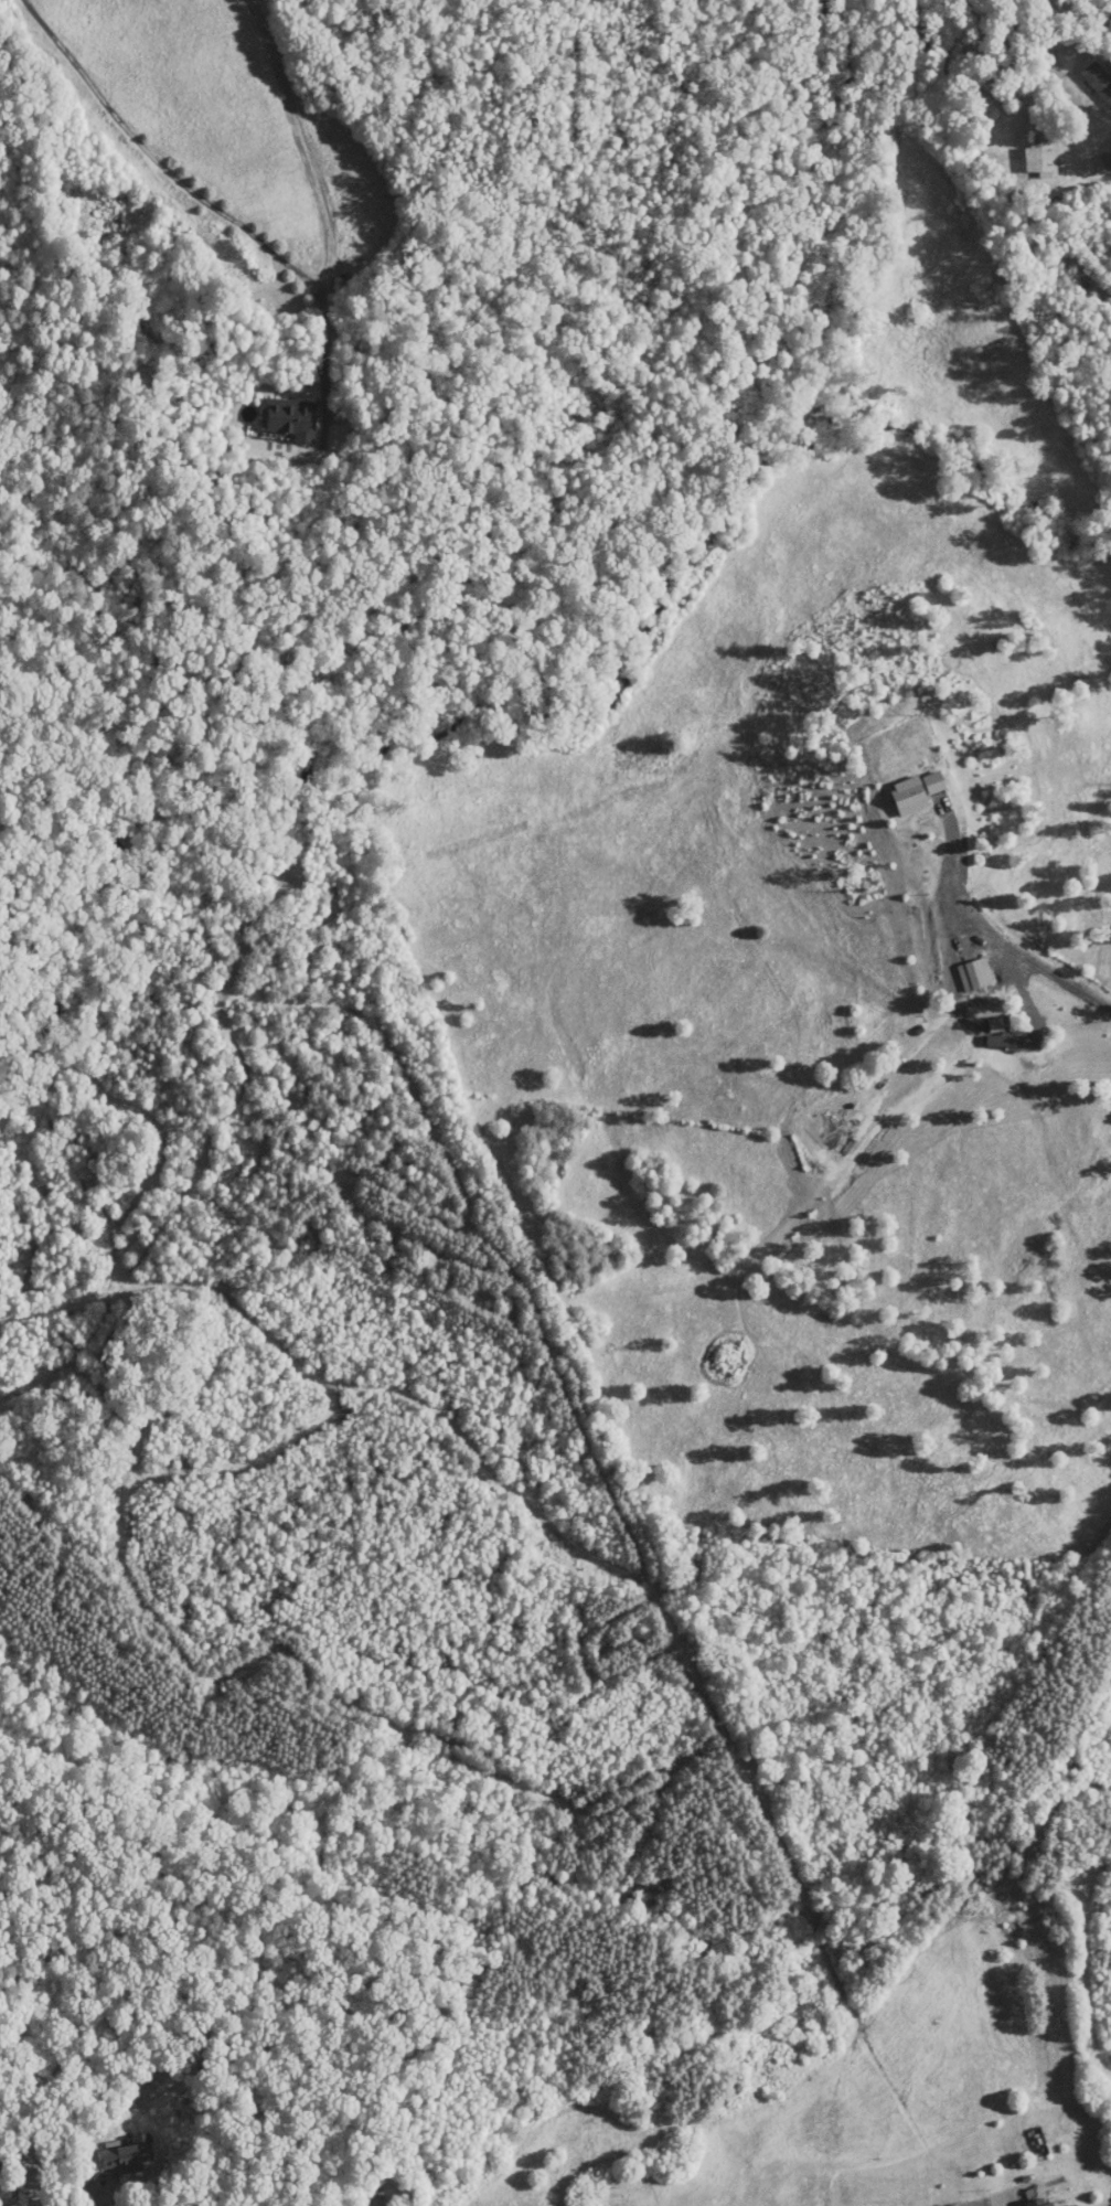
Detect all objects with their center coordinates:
building: (1099, 82)
building: (1041, 143)
road: (157, 160)
road: (316, 195)
building: (289, 417)
building: (917, 792)
road: (1004, 940)
building: (975, 974)
building: (832, 1136)
building: (130, 2155)
building: (2, 2168)
road: (105, 2191)
building: (630, 2200)
building: (1043, 2203)
building: (415, 2204)

